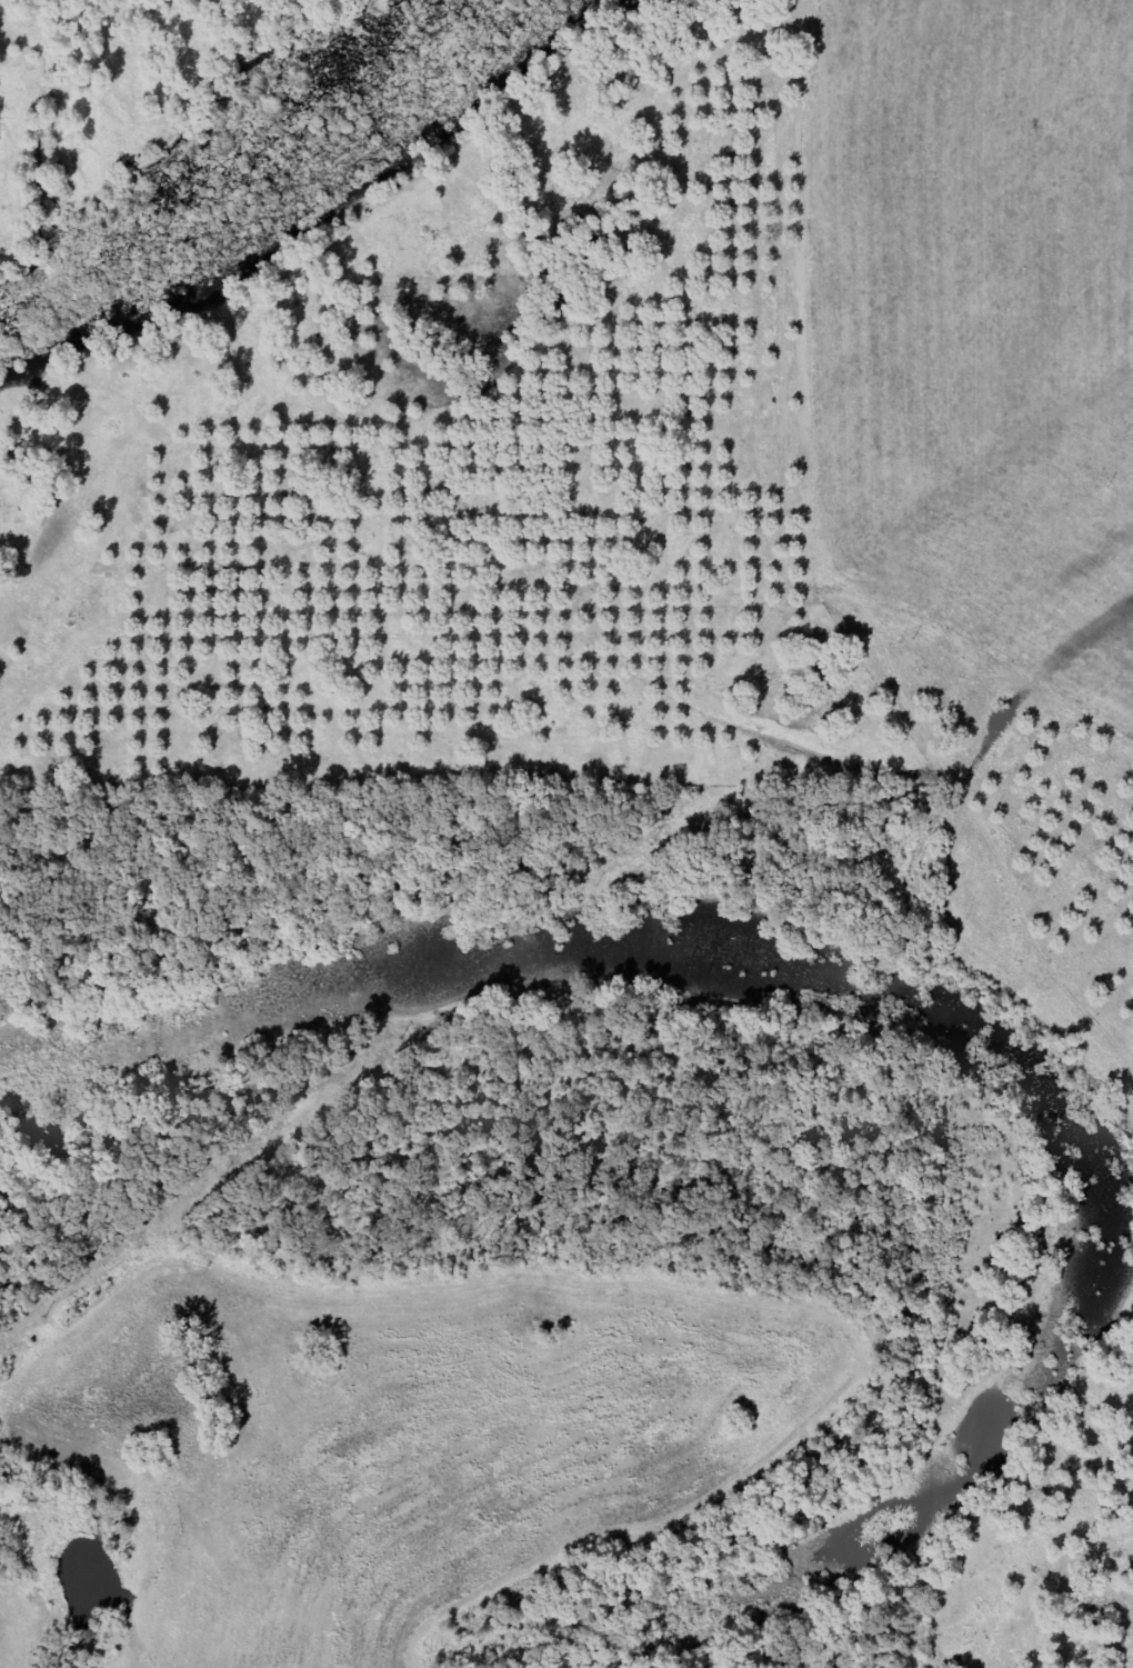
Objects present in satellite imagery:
road: (869, 536)

